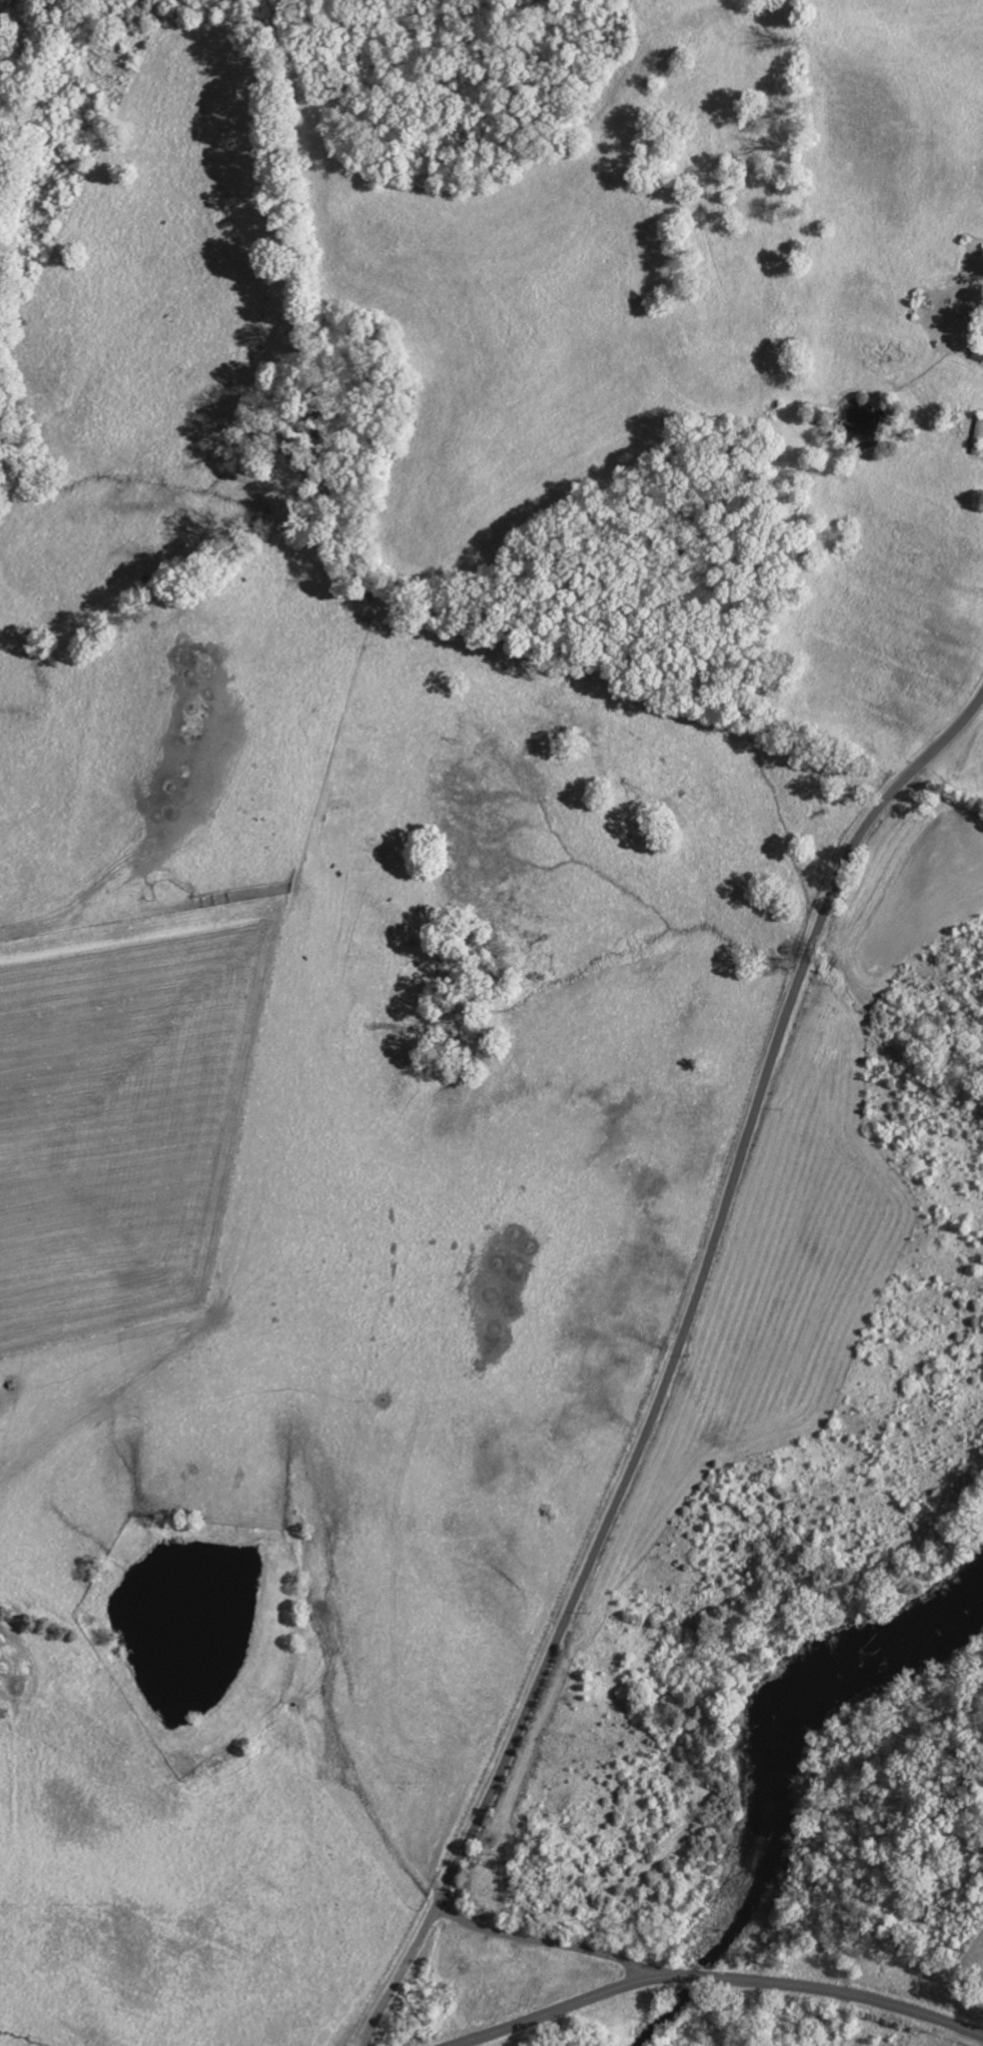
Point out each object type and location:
road: (656, 1403)
road: (717, 1979)

